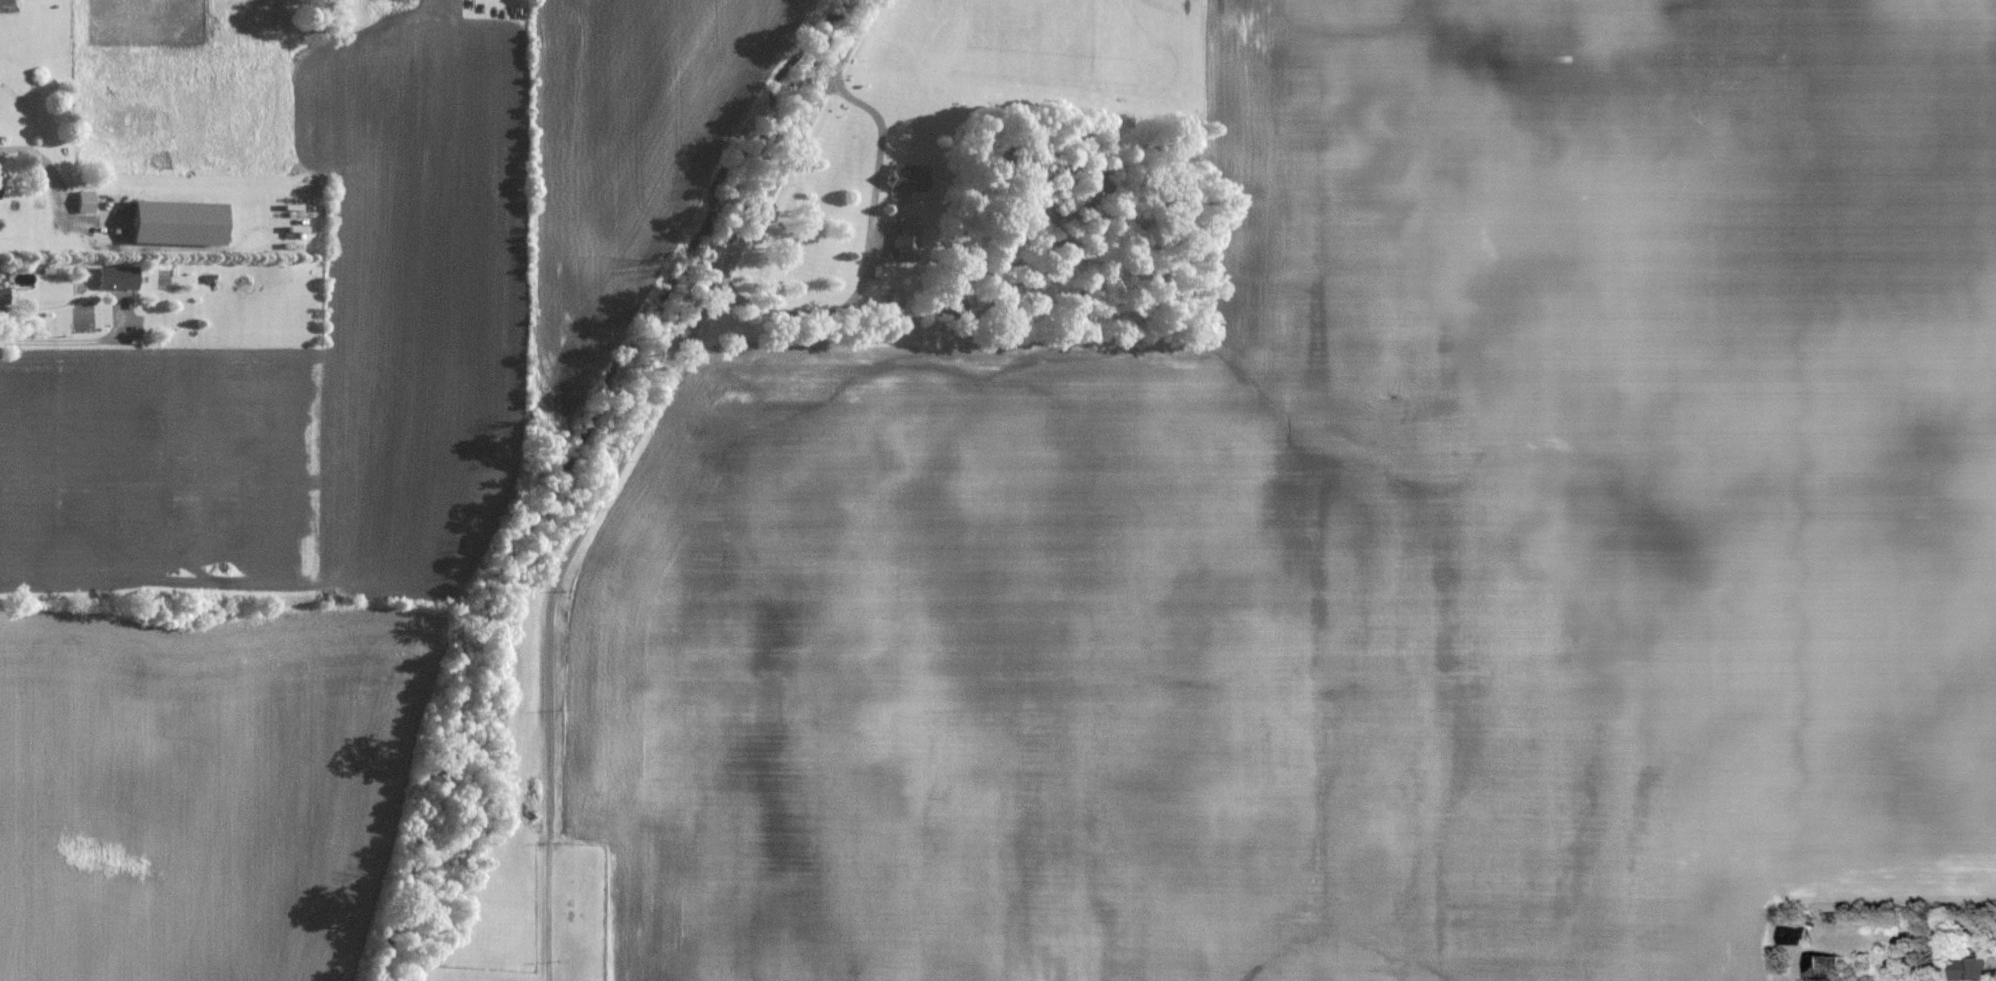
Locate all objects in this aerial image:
road: (16, 149)
building: (908, 177)
building: (0, 181)
building: (85, 202)
building: (177, 224)
building: (907, 241)
road: (866, 249)
building: (117, 279)
building: (4, 297)
road: (73, 342)
road: (617, 464)
road: (1967, 927)
building: (1795, 936)
building: (1823, 966)
building: (1972, 969)

